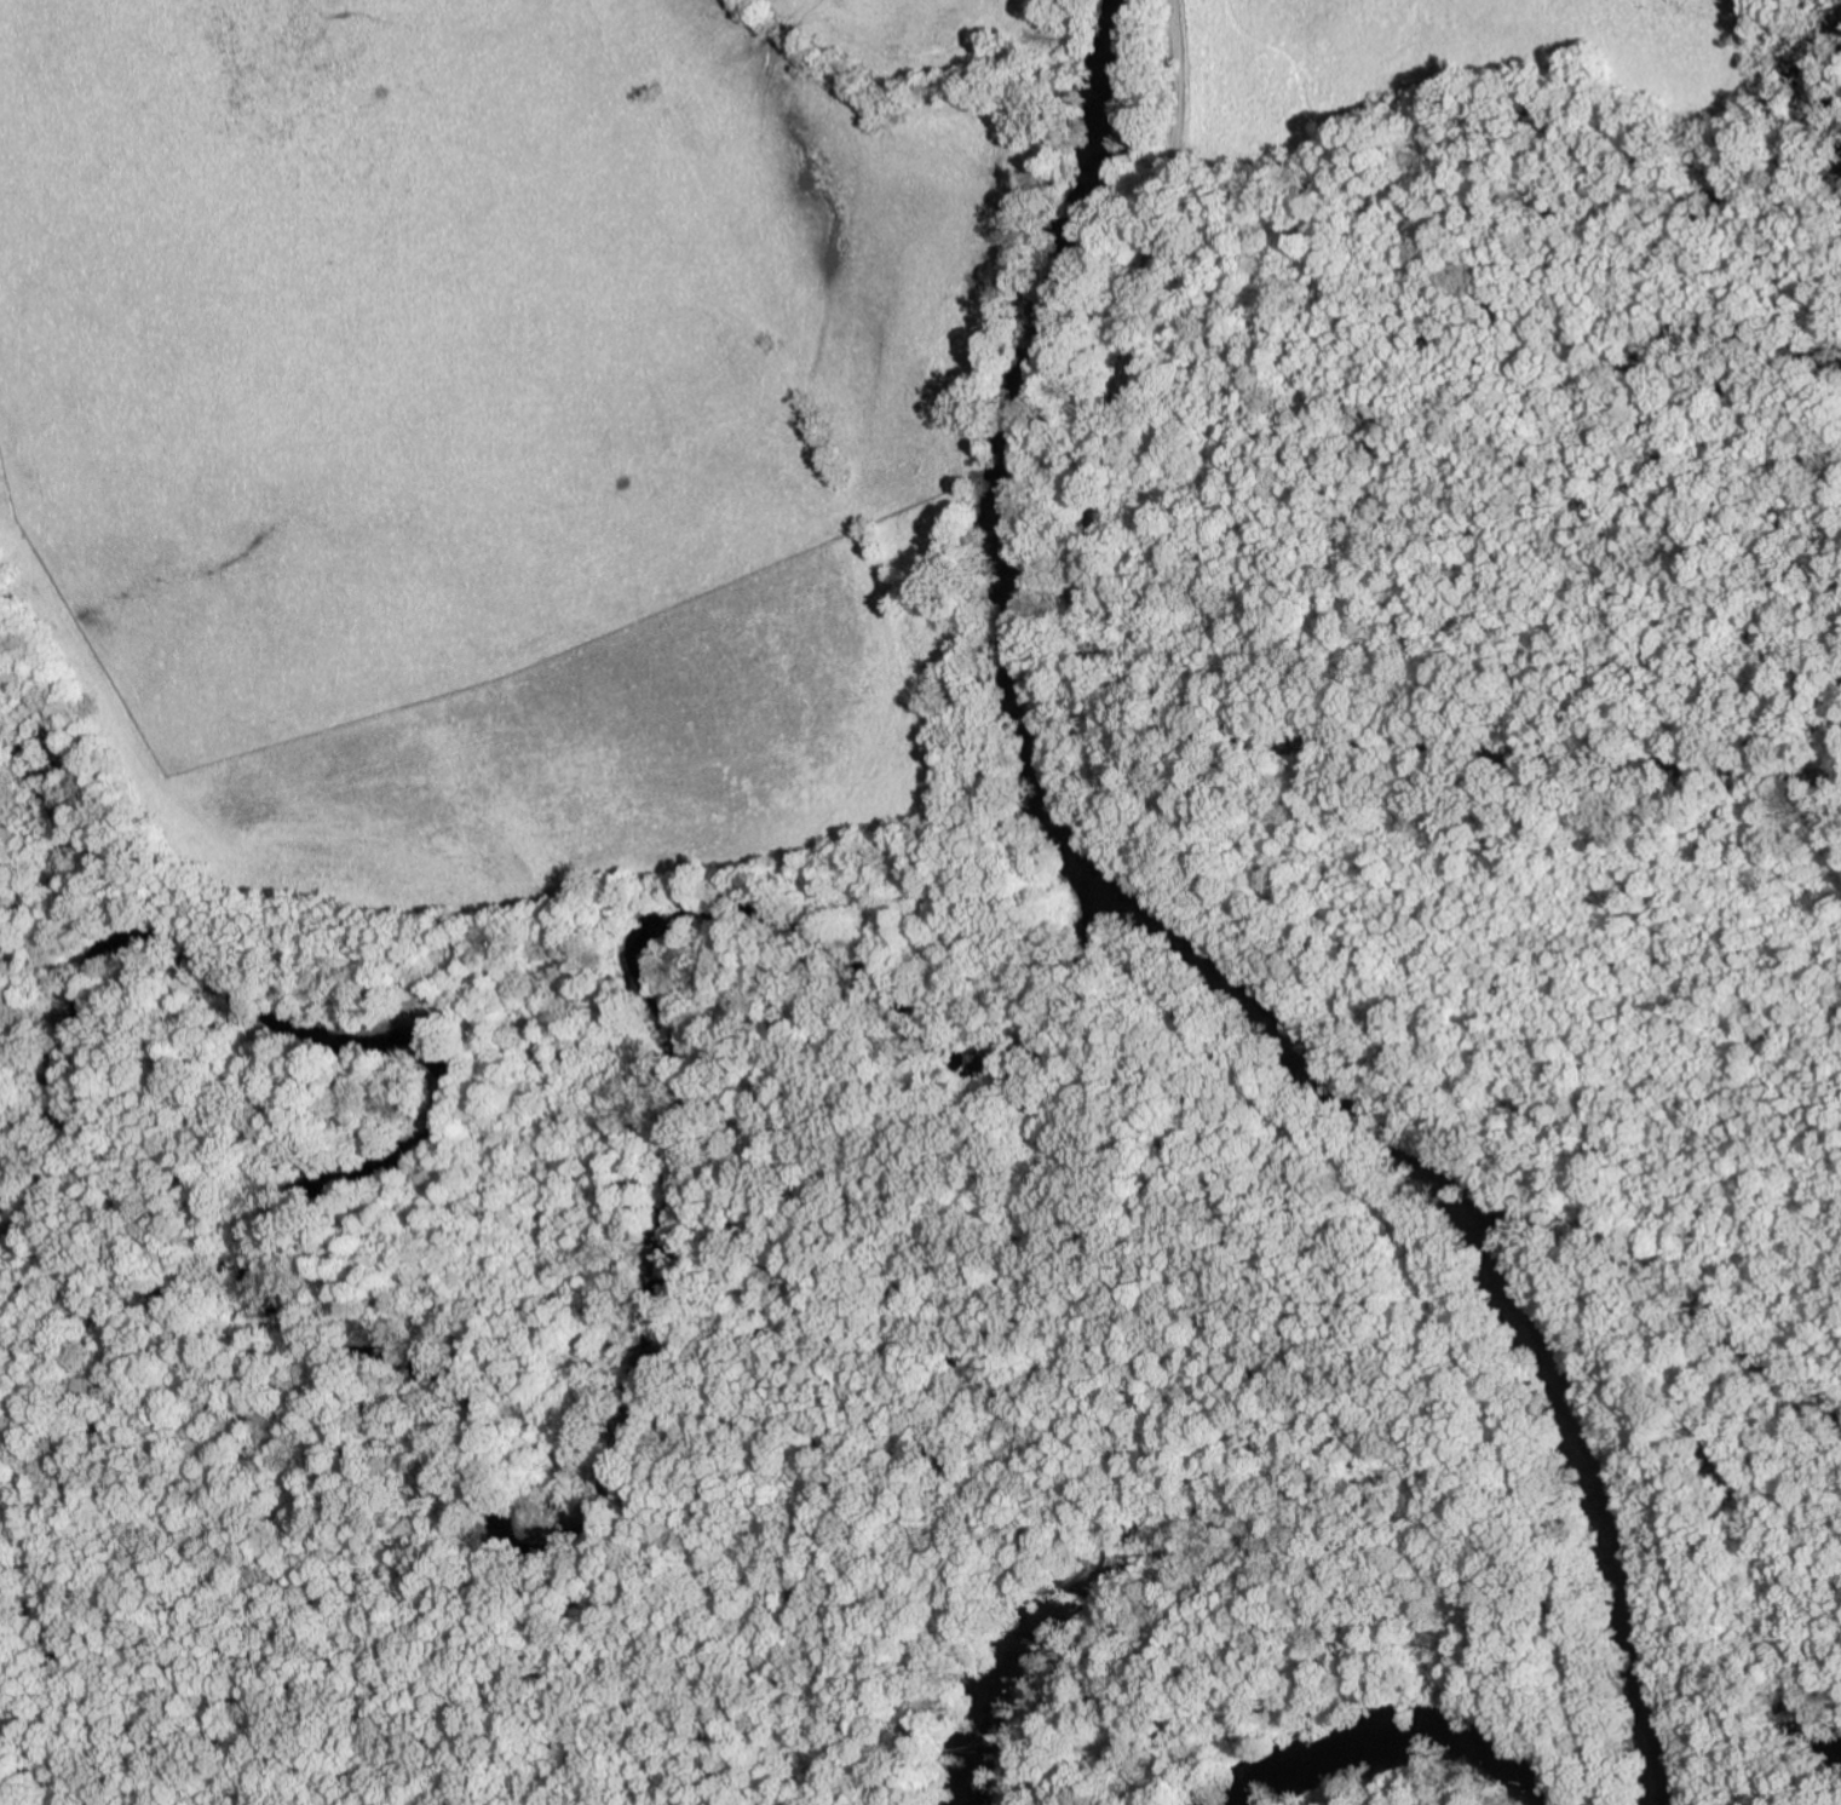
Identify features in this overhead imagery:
road: (1122, 705)
river: (1189, 935)
river: (494, 1496)

